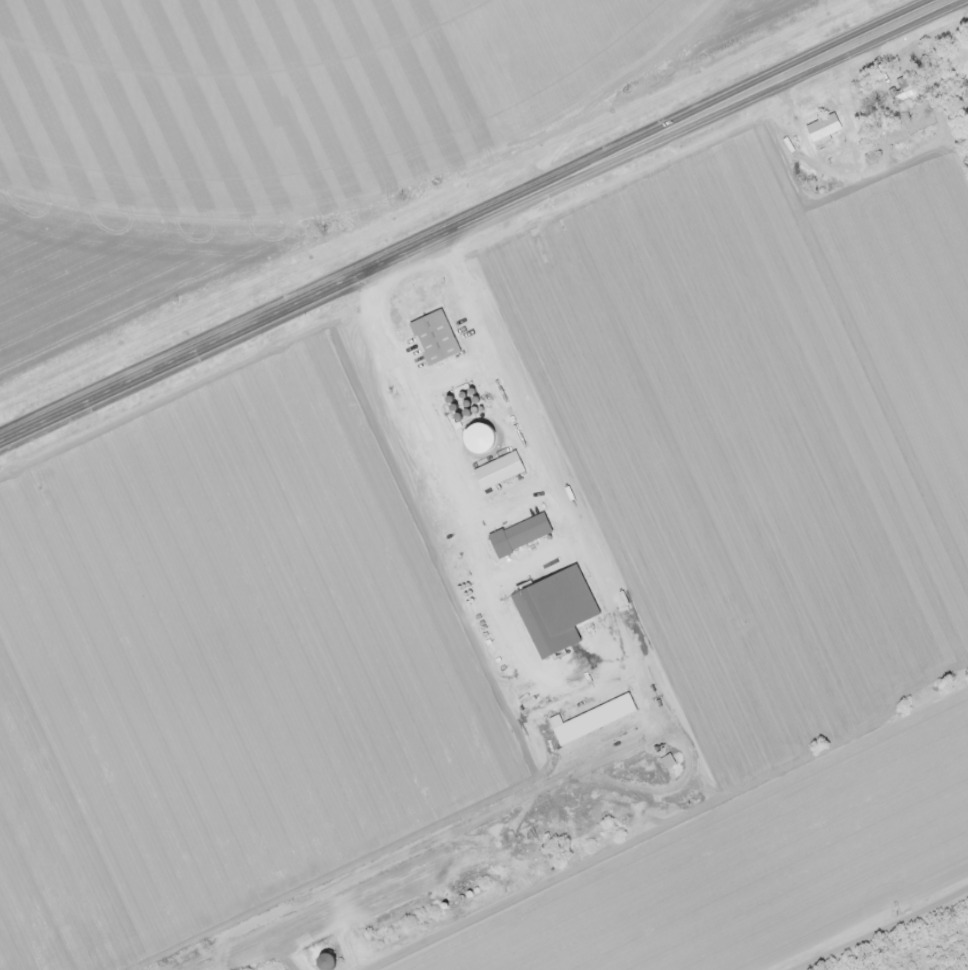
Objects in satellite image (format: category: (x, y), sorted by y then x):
building: (900, 95)
building: (820, 128)
road: (475, 219)
building: (432, 339)
building: (496, 472)
road: (550, 484)
building: (518, 536)
building: (589, 721)
airport runway: (358, 878)
road: (888, 934)
building: (319, 962)

